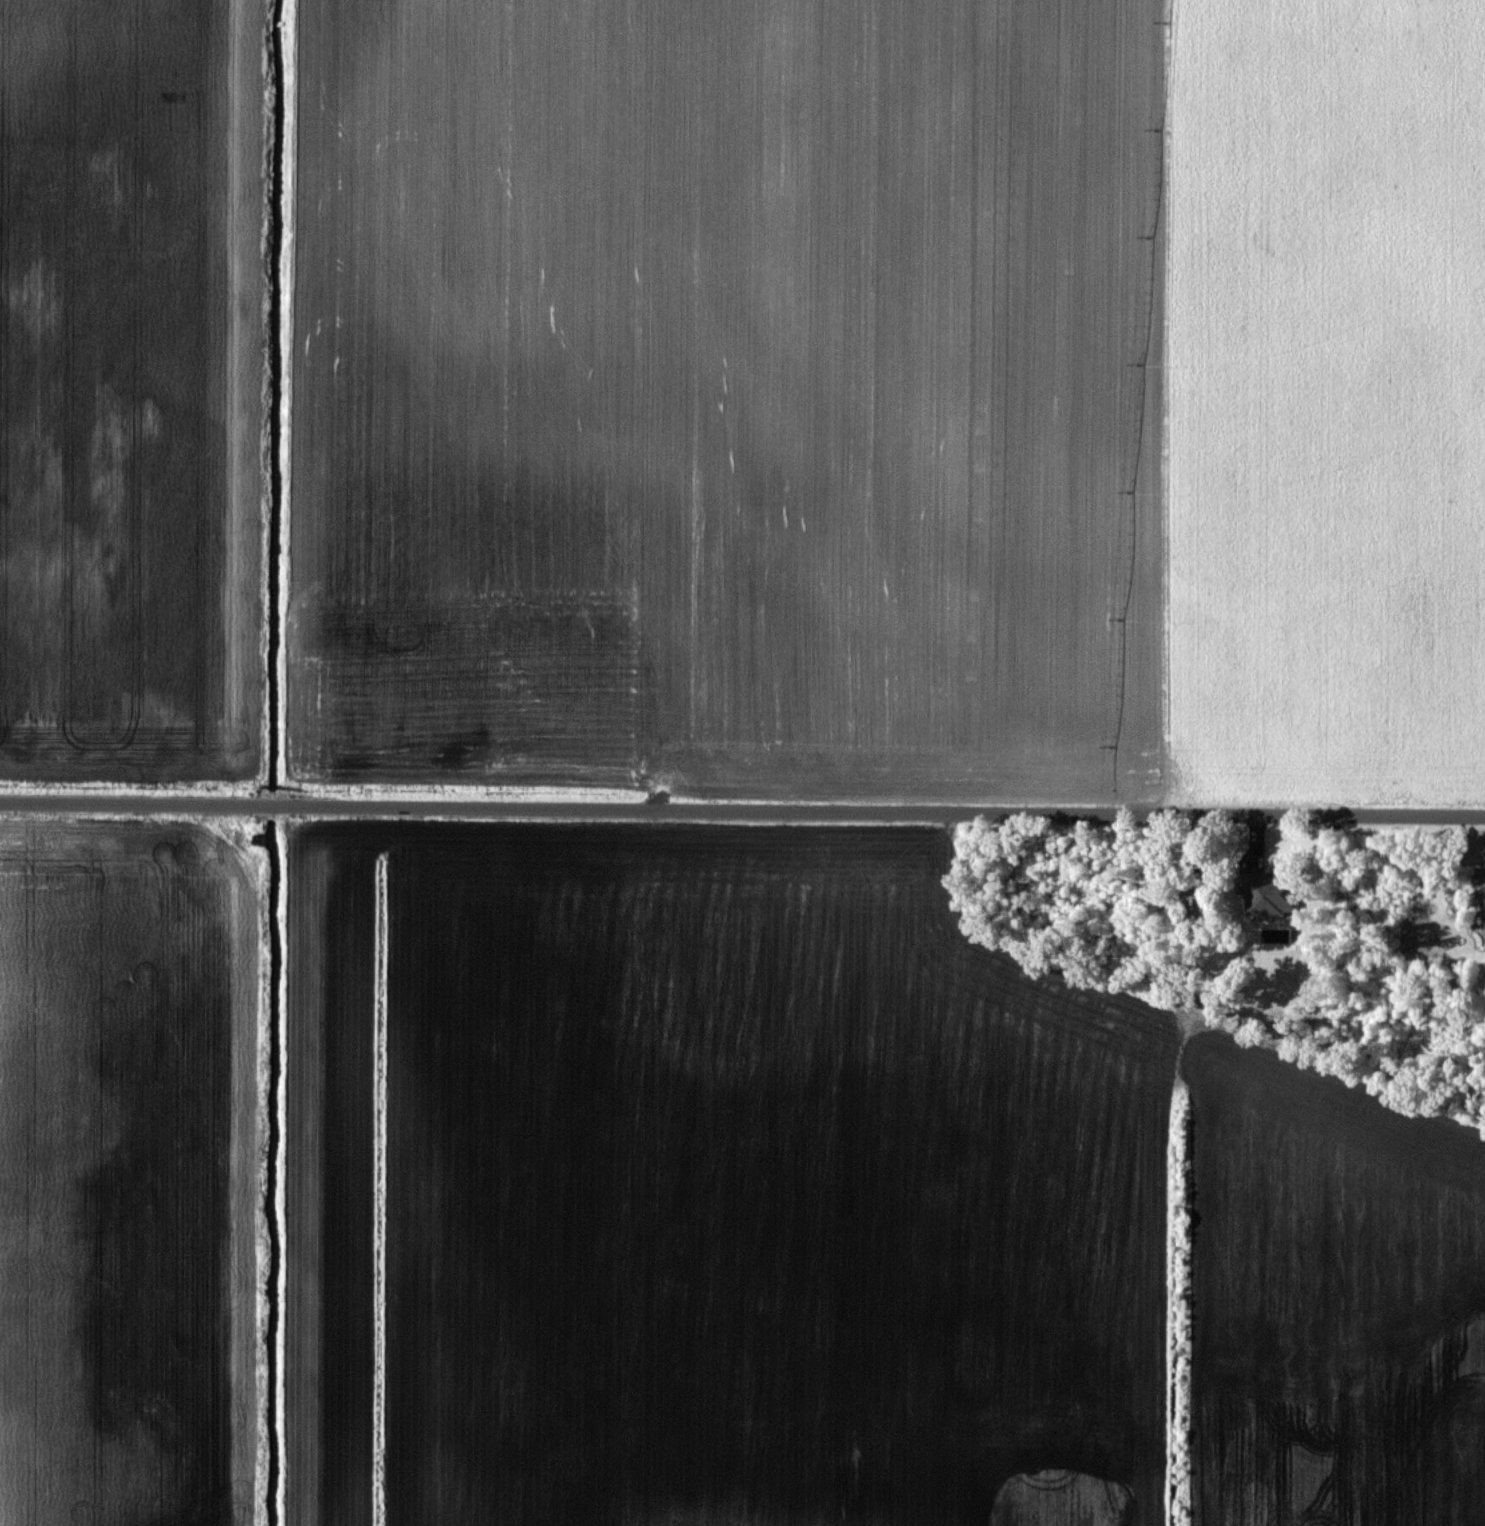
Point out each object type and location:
road: (742, 810)
building: (1268, 888)
building: (1484, 895)

